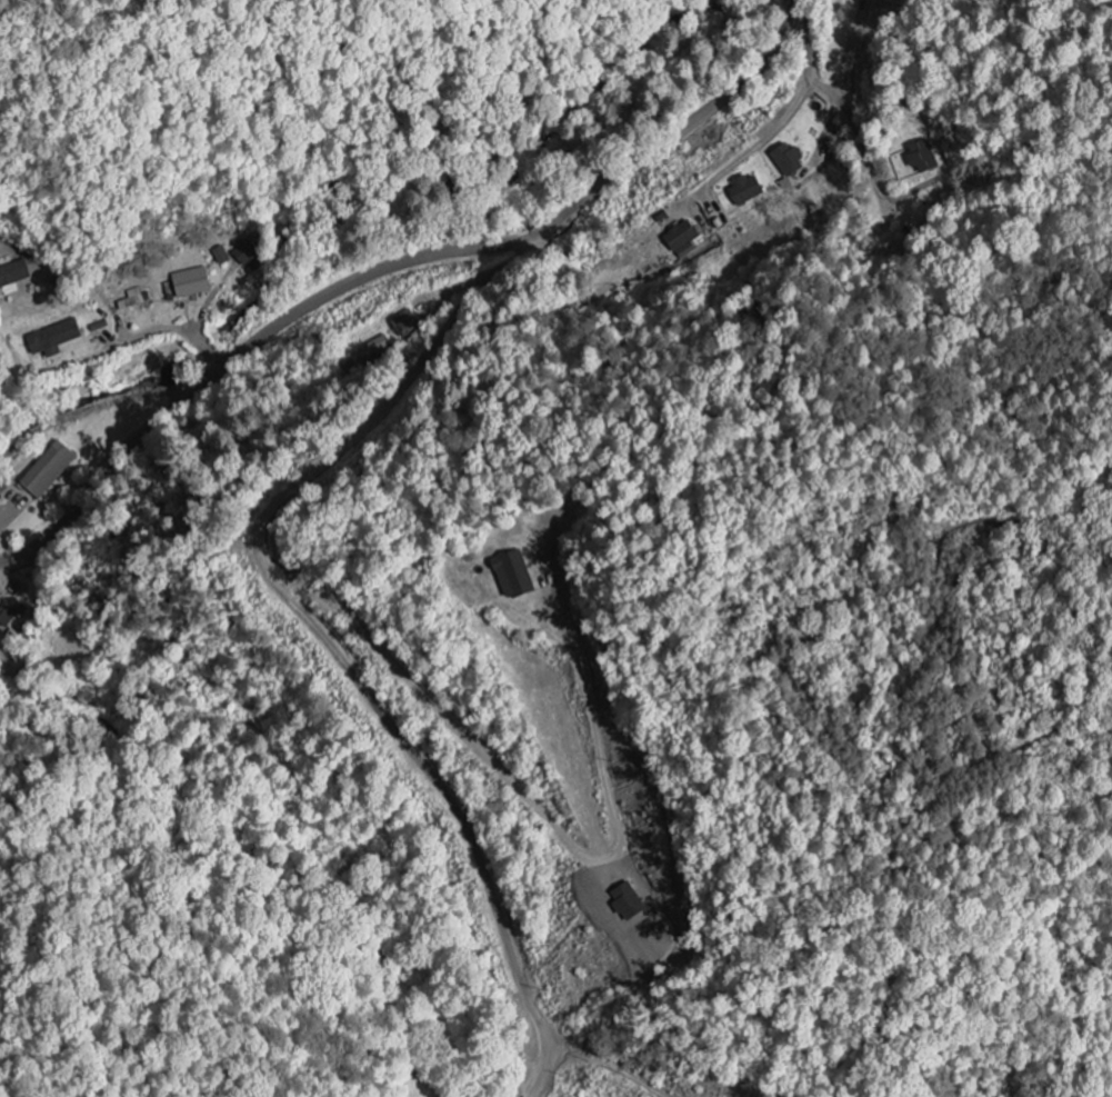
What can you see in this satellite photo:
road: (793, 106)
building: (920, 158)
building: (784, 161)
building: (743, 192)
building: (679, 238)
building: (243, 255)
building: (219, 257)
road: (383, 268)
building: (12, 275)
building: (189, 285)
building: (51, 340)
building: (48, 472)
building: (510, 577)
building: (6, 618)
road: (321, 634)

